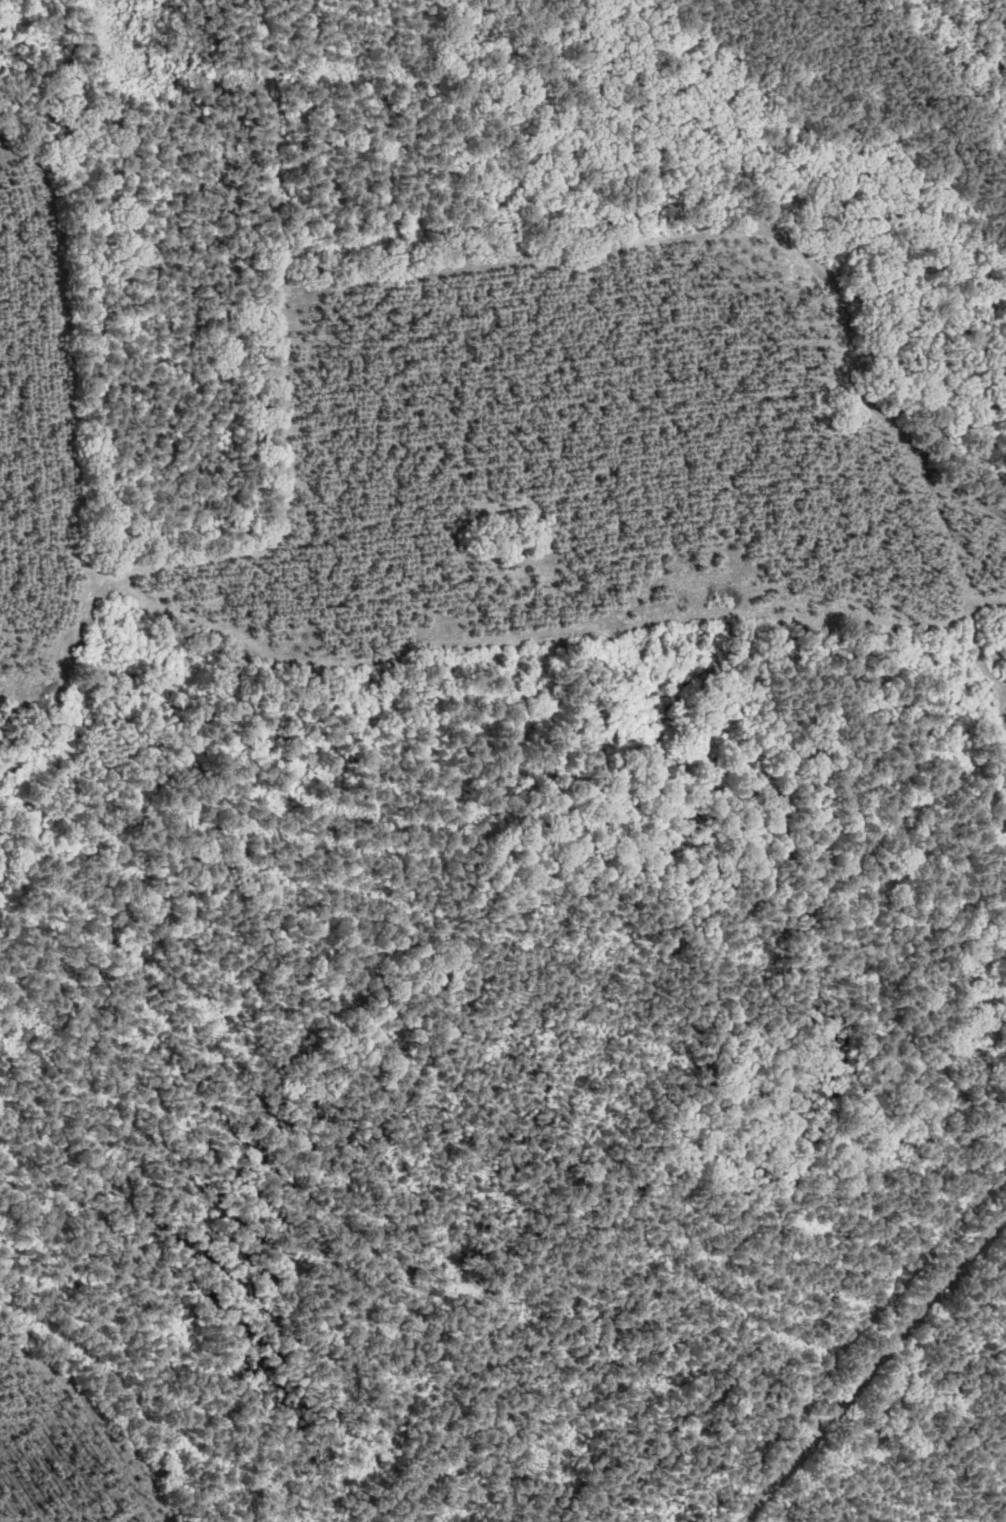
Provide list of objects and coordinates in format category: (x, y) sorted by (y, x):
railway: (871, 1368)

